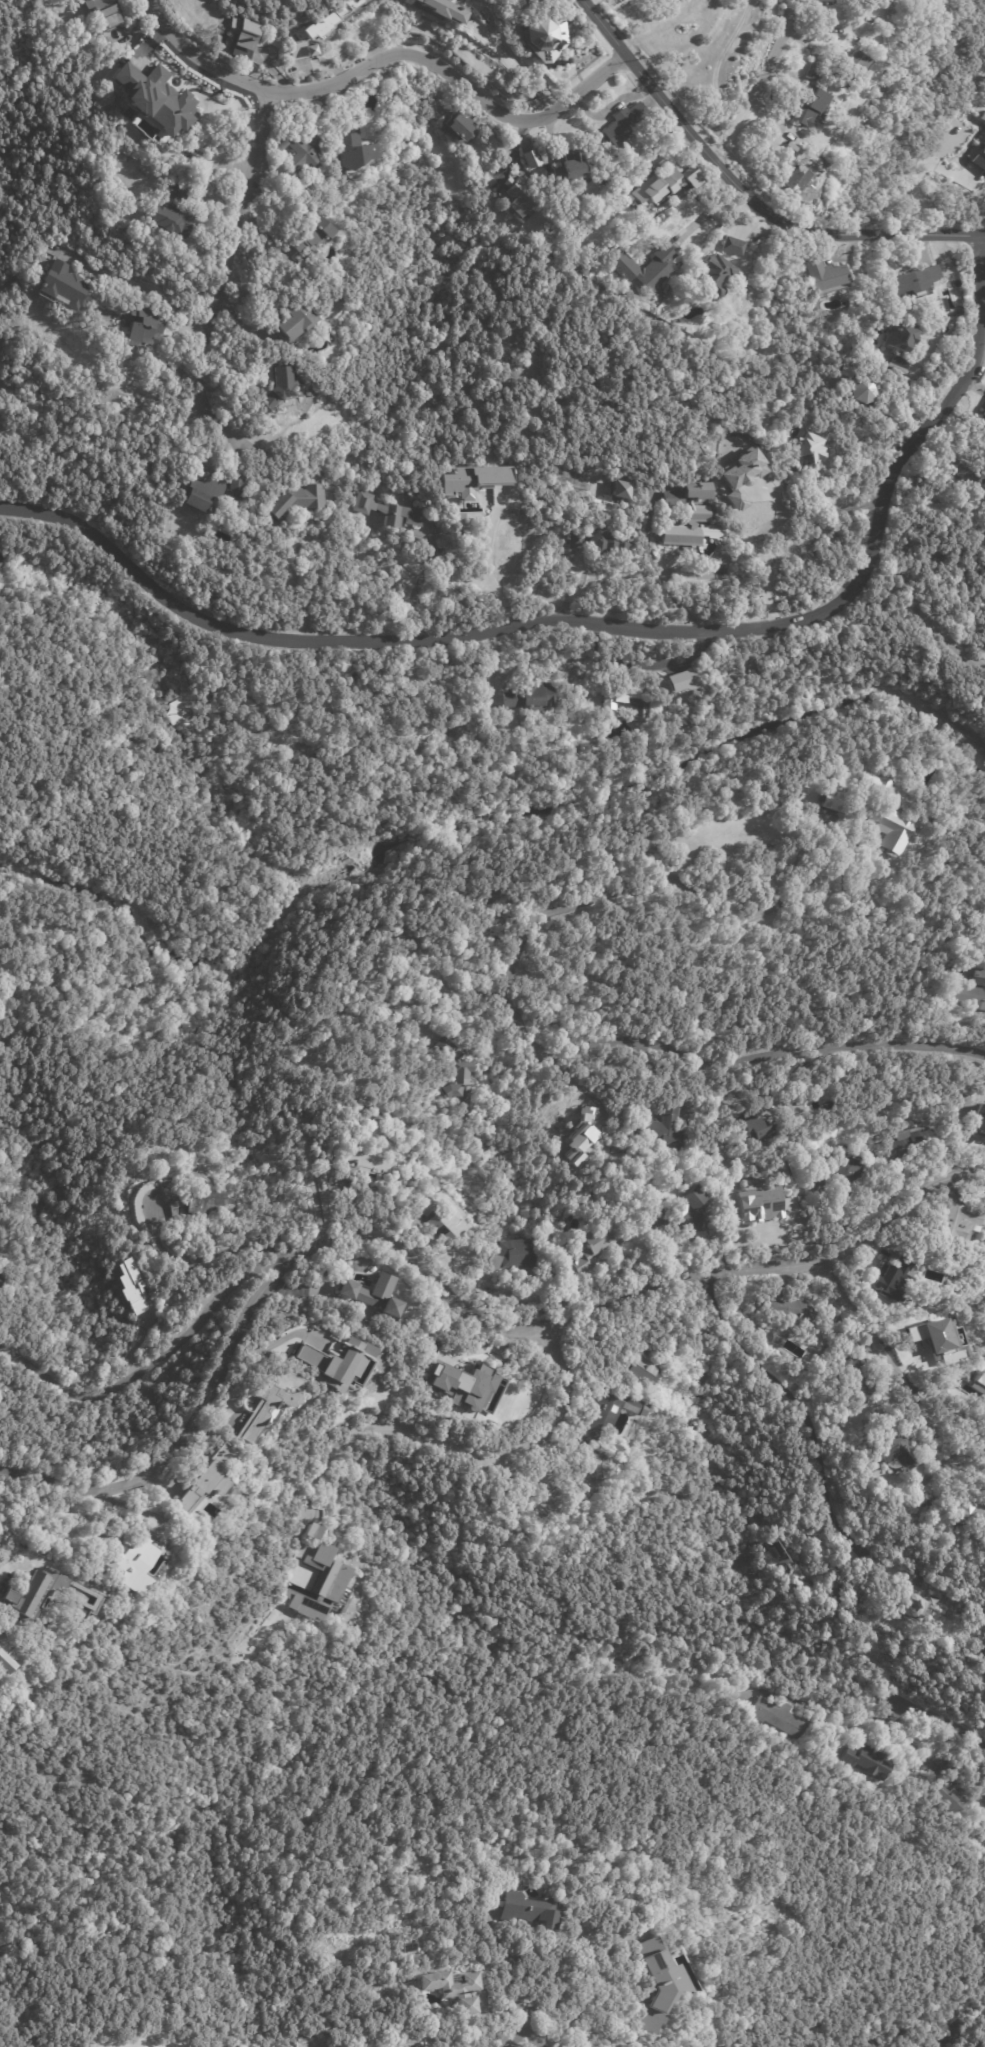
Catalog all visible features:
building: (816, 0)
building: (510, 3)
building: (443, 9)
building: (104, 13)
building: (325, 25)
building: (244, 33)
building: (542, 38)
building: (304, 52)
road: (385, 56)
road: (517, 59)
building: (849, 69)
building: (814, 72)
road: (758, 85)
building: (181, 104)
building: (809, 107)
building: (982, 116)
building: (624, 124)
building: (456, 128)
road: (259, 130)
building: (668, 138)
building: (275, 145)
building: (352, 149)
building: (302, 150)
building: (978, 155)
building: (529, 157)
building: (654, 161)
building: (569, 166)
building: (800, 173)
road: (918, 173)
building: (690, 178)
building: (655, 187)
road: (743, 193)
building: (516, 194)
building: (169, 211)
building: (306, 230)
building: (733, 245)
building: (573, 267)
building: (587, 268)
building: (641, 268)
building: (714, 274)
building: (824, 275)
building: (914, 282)
building: (60, 286)
road: (222, 290)
road: (160, 293)
building: (290, 321)
building: (139, 324)
building: (899, 337)
building: (895, 363)
building: (276, 385)
building: (863, 388)
building: (909, 401)
building: (983, 414)
building: (805, 451)
building: (741, 476)
building: (981, 477)
building: (473, 479)
building: (231, 483)
building: (199, 490)
building: (619, 490)
building: (295, 501)
building: (385, 511)
building: (686, 514)
building: (599, 543)
road: (754, 555)
road: (484, 567)
road: (656, 570)
road: (413, 581)
road: (310, 586)
road: (922, 614)
road: (606, 624)
road: (682, 657)
building: (528, 695)
building: (625, 701)
building: (187, 715)
building: (834, 799)
building: (888, 814)
road: (843, 870)
building: (971, 990)
road: (584, 1048)
building: (455, 1073)
building: (978, 1121)
building: (662, 1128)
building: (756, 1130)
building: (579, 1139)
building: (907, 1143)
building: (363, 1169)
building: (842, 1172)
building: (692, 1197)
building: (203, 1203)
building: (758, 1204)
building: (422, 1207)
building: (670, 1219)
building: (959, 1222)
building: (444, 1226)
building: (591, 1250)
building: (511, 1254)
road: (200, 1259)
building: (892, 1279)
building: (3, 1284)
building: (130, 1287)
road: (441, 1287)
building: (372, 1294)
building: (790, 1310)
building: (398, 1326)
building: (903, 1331)
building: (928, 1337)
road: (255, 1349)
building: (331, 1364)
building: (638, 1366)
road: (900, 1366)
road: (149, 1368)
building: (856, 1378)
building: (461, 1385)
road: (793, 1401)
building: (264, 1407)
building: (606, 1415)
road: (470, 1451)
building: (611, 1452)
building: (899, 1454)
building: (199, 1480)
building: (550, 1494)
building: (925, 1501)
building: (968, 1511)
building: (309, 1533)
building: (773, 1552)
building: (131, 1562)
building: (916, 1581)
building: (320, 1586)
building: (31, 1592)
building: (910, 1606)
building: (975, 1659)
building: (9, 1661)
building: (727, 1694)
road: (934, 1716)
building: (781, 1717)
building: (871, 1761)
building: (954, 1799)
building: (528, 1909)
building: (407, 1946)
building: (656, 1982)
road: (515, 1985)
building: (454, 1987)
road: (583, 2002)
road: (526, 2046)

